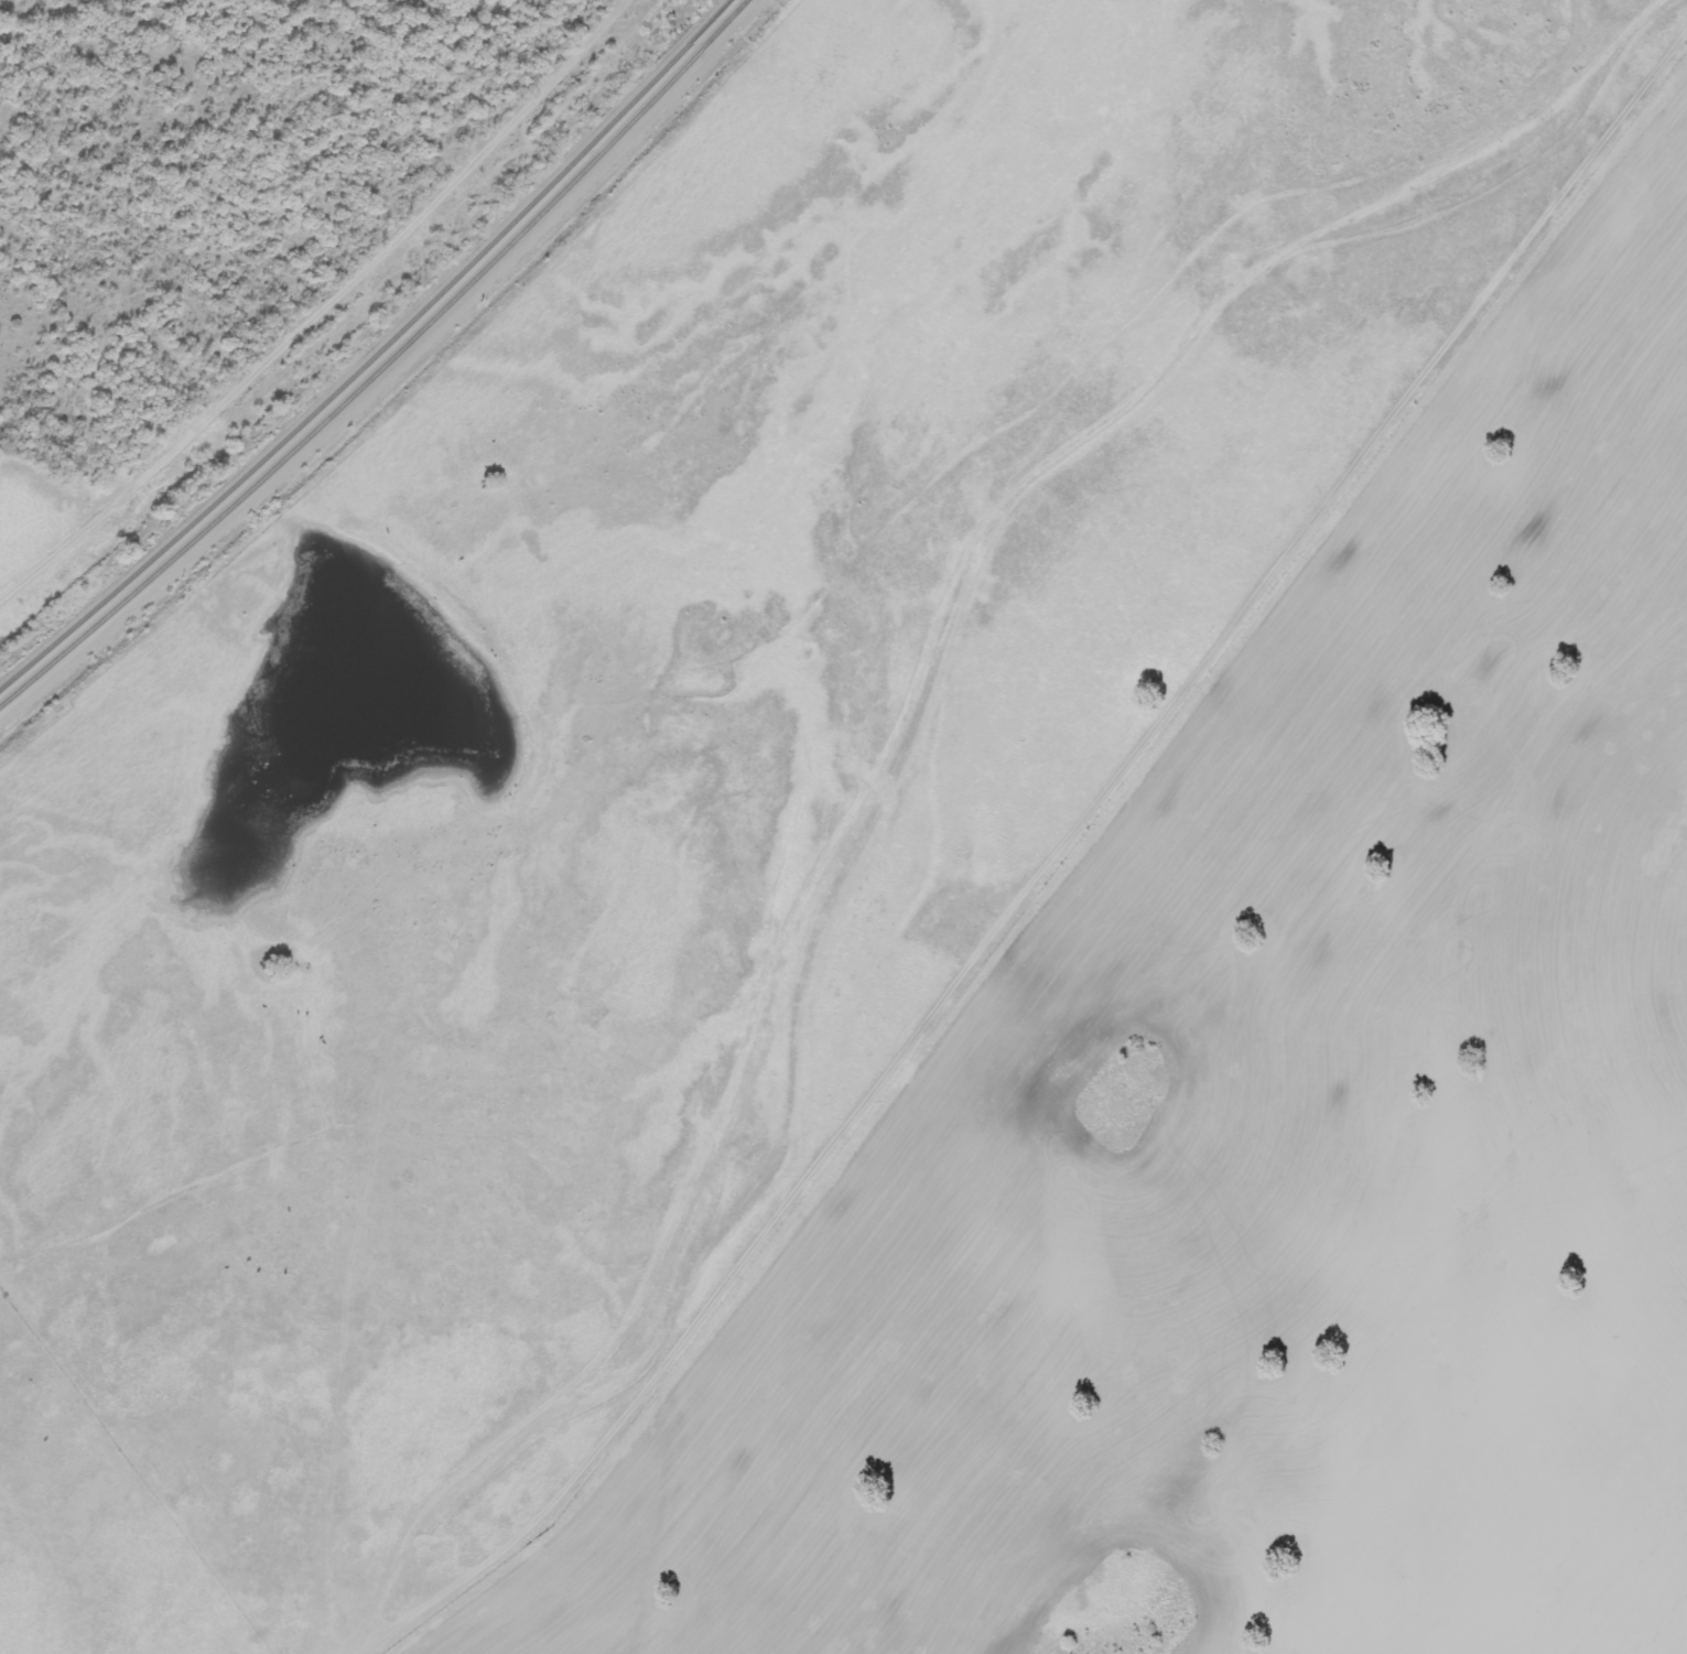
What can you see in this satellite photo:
road: (322, 321)
railway: (371, 352)

